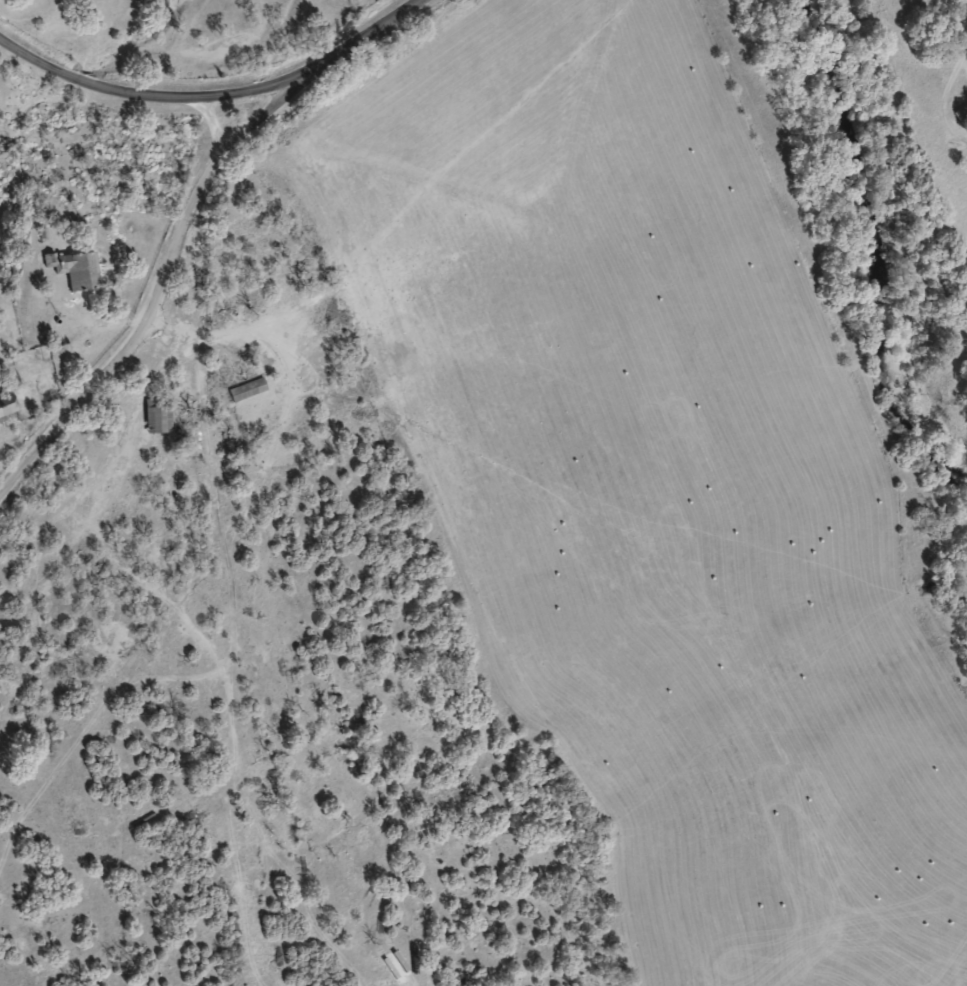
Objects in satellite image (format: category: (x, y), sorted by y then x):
road: (362, 38)
road: (147, 95)
building: (82, 271)
road: (160, 286)
building: (9, 404)

